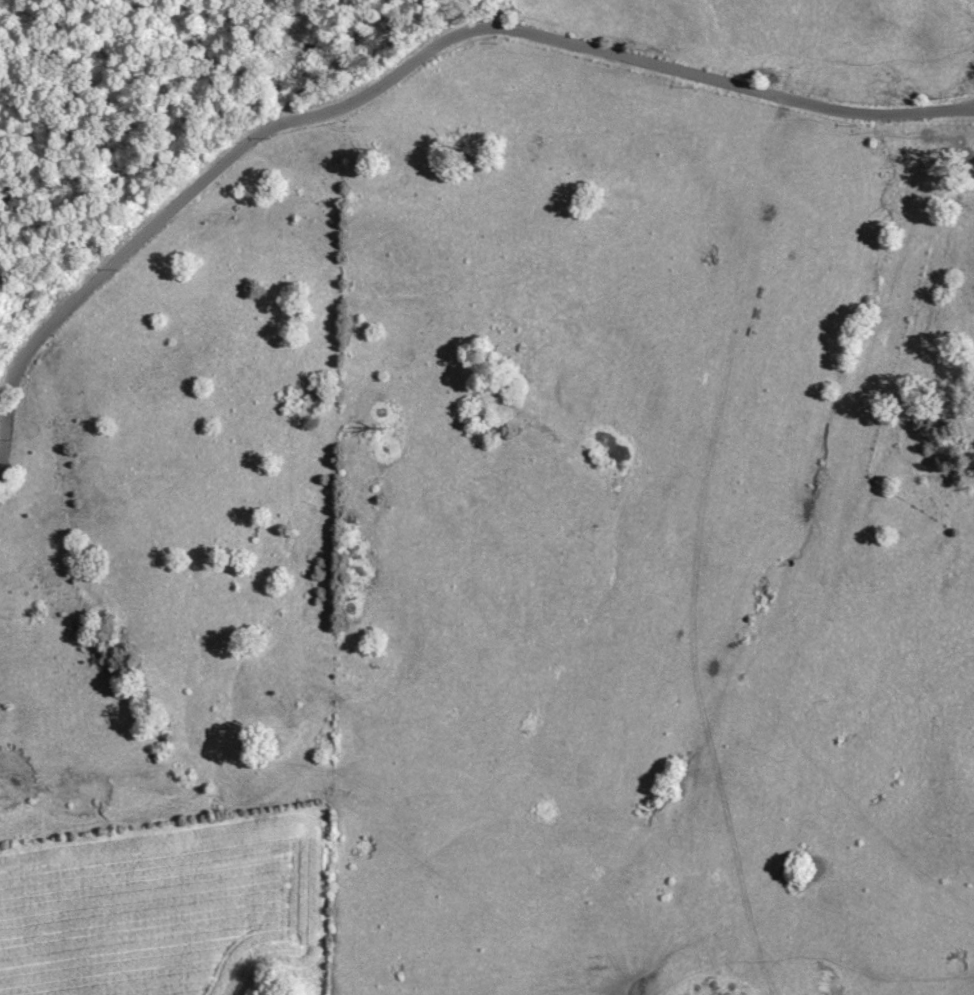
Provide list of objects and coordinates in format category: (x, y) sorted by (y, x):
road: (415, 46)

